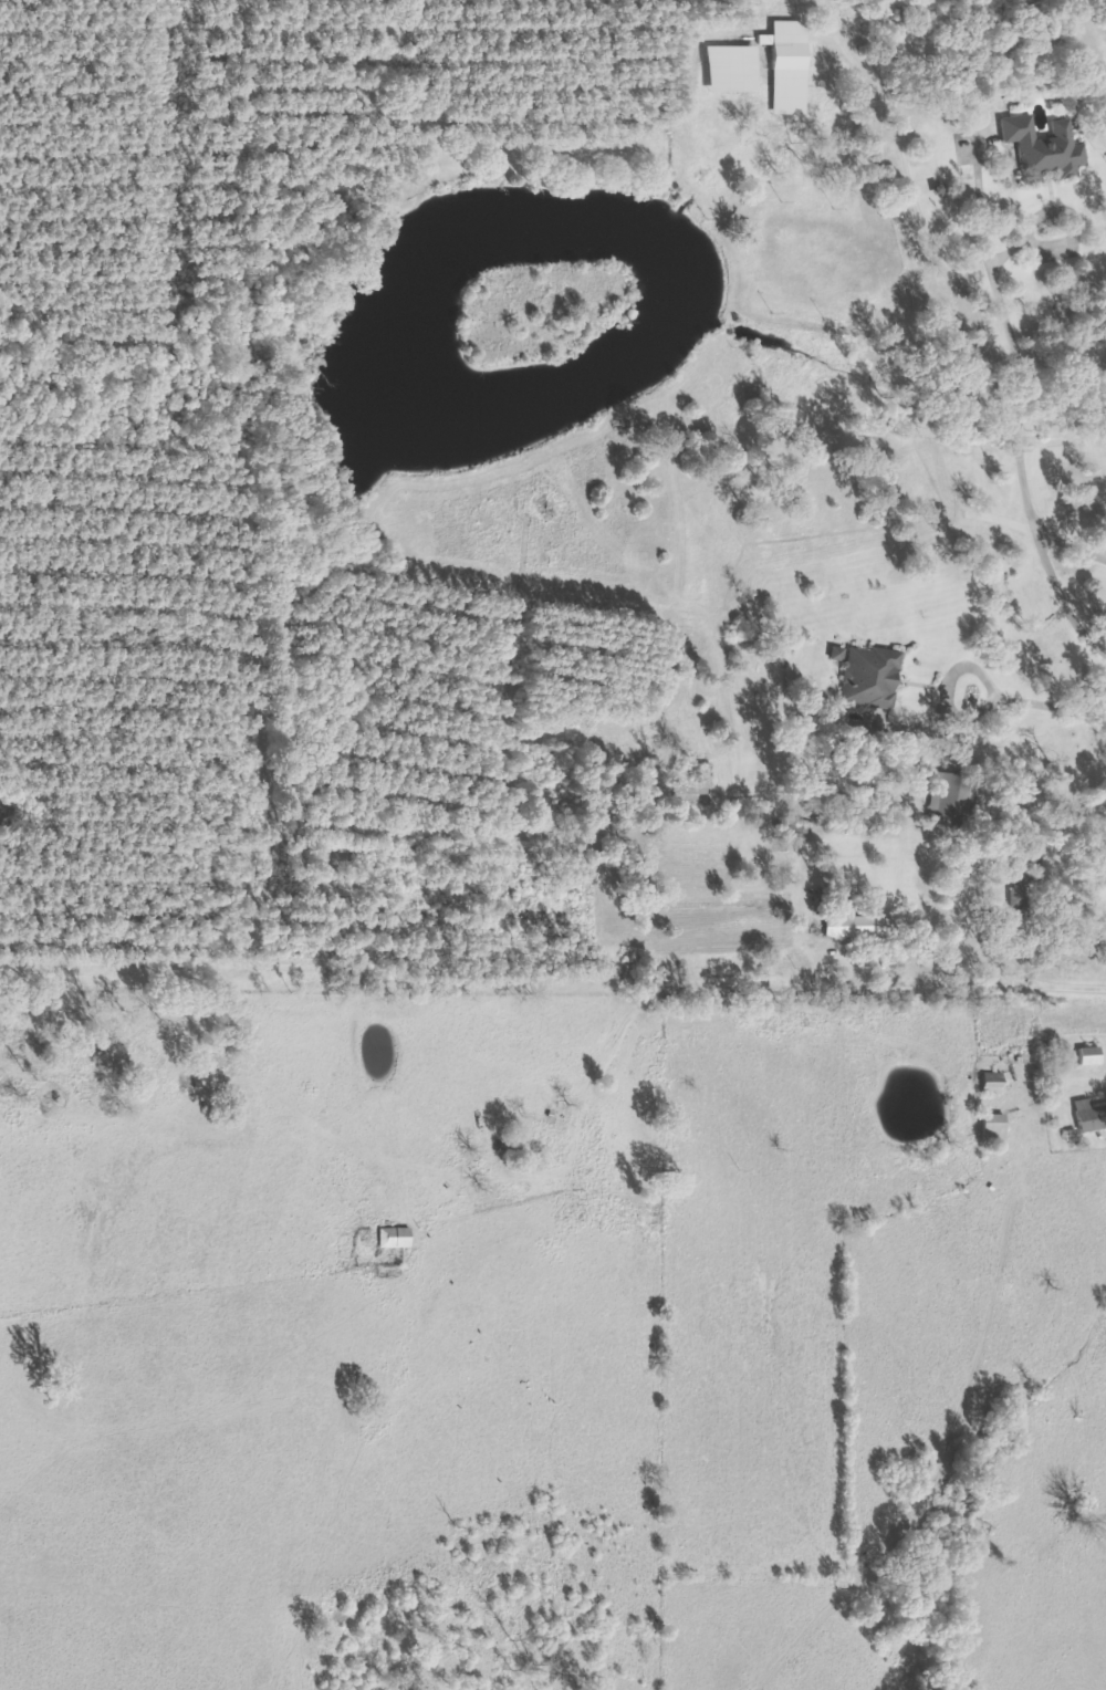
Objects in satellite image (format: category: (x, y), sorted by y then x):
building: (795, 67)
building: (739, 70)
building: (1048, 146)
building: (877, 675)
building: (860, 926)
road: (883, 990)
building: (1095, 1055)
building: (999, 1088)
building: (1093, 1115)
building: (1000, 1126)
building: (399, 1238)

